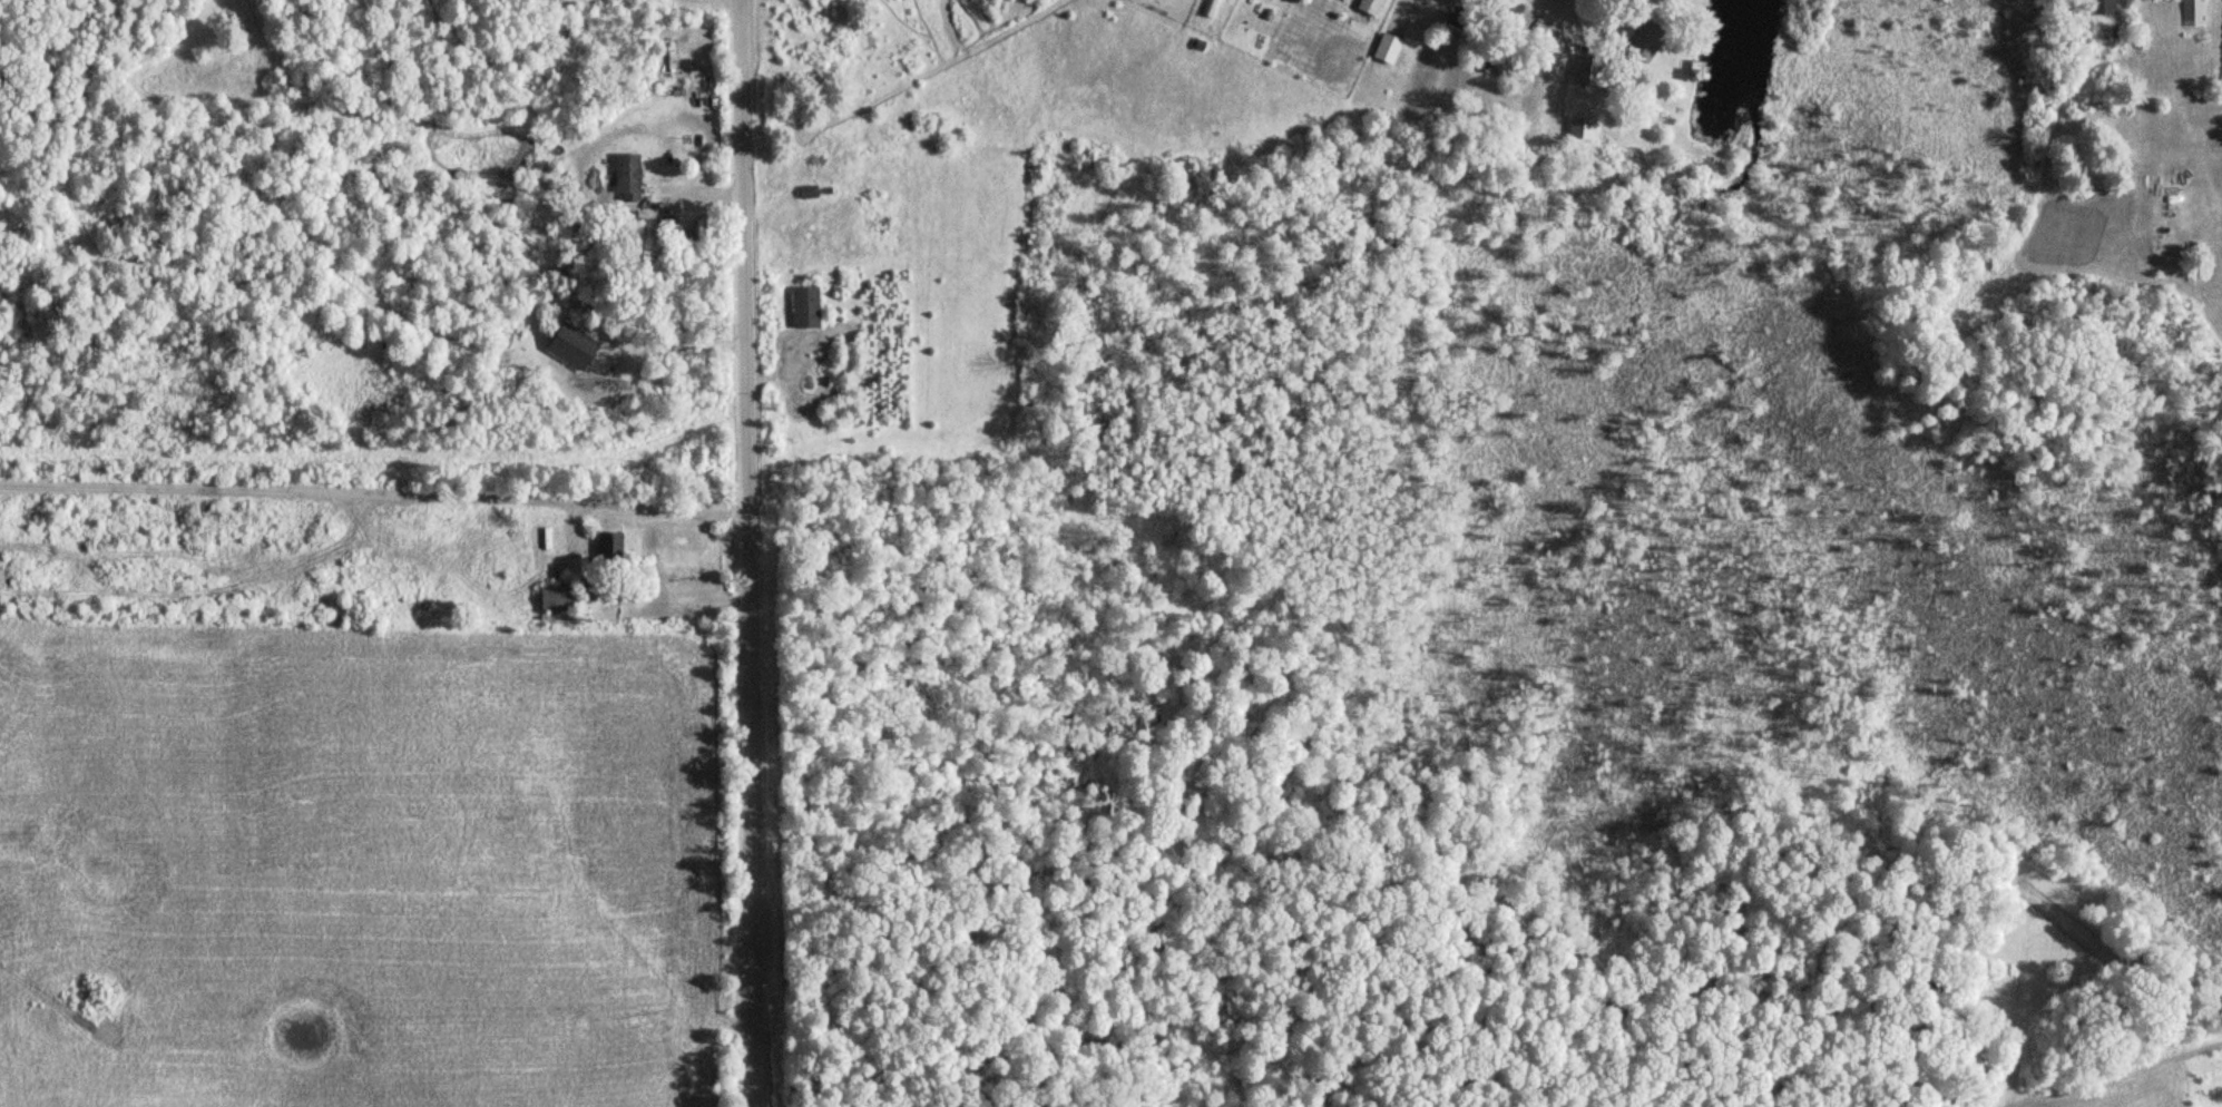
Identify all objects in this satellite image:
building: (1365, 6)
building: (2101, 7)
building: (2192, 13)
building: (1384, 48)
building: (624, 174)
building: (806, 192)
building: (802, 306)
road: (373, 493)
building: (605, 545)
road: (747, 552)
building: (552, 598)
building: (323, 844)

